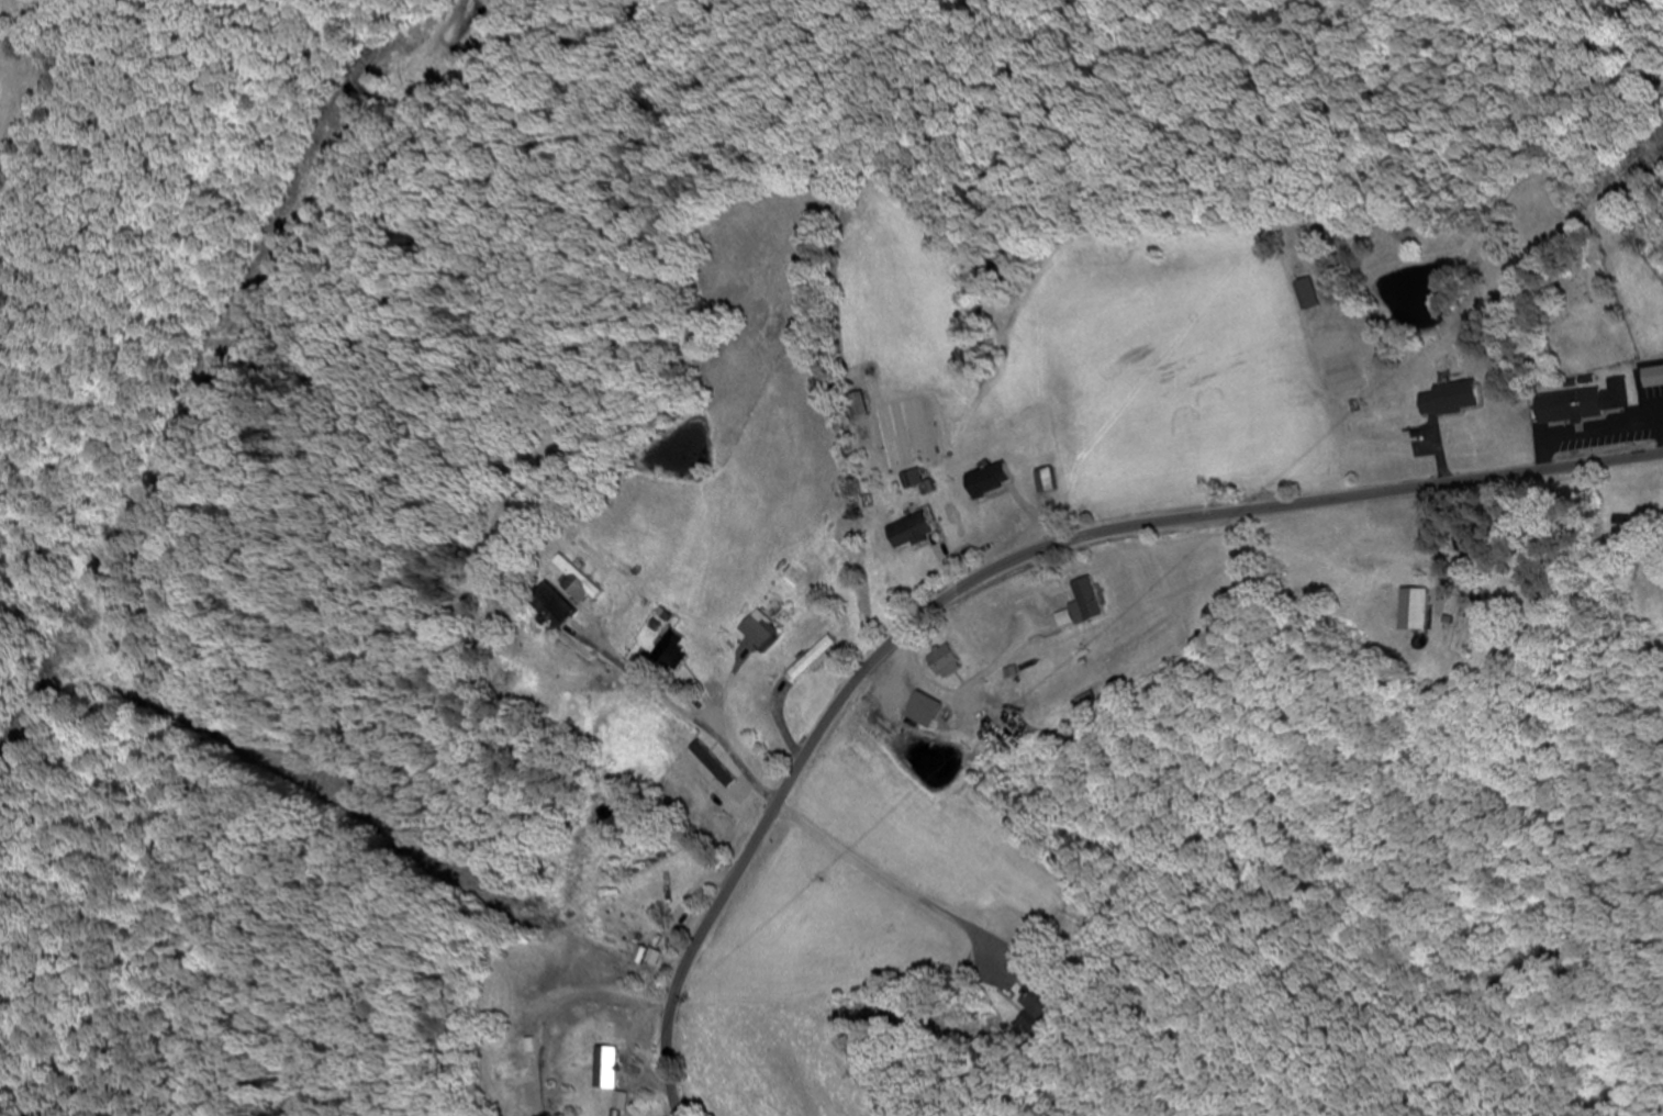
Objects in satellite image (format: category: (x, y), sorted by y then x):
building: (1312, 294)
building: (1451, 400)
building: (1587, 403)
building: (915, 480)
building: (1048, 481)
building: (997, 495)
building: (909, 533)
building: (1397, 548)
road: (1002, 565)
building: (581, 584)
building: (1087, 599)
building: (555, 607)
building: (757, 633)
building: (814, 660)
building: (945, 662)
building: (1093, 704)
building: (924, 711)
building: (628, 930)
road: (971, 1048)
building: (609, 1074)
building: (623, 1103)

